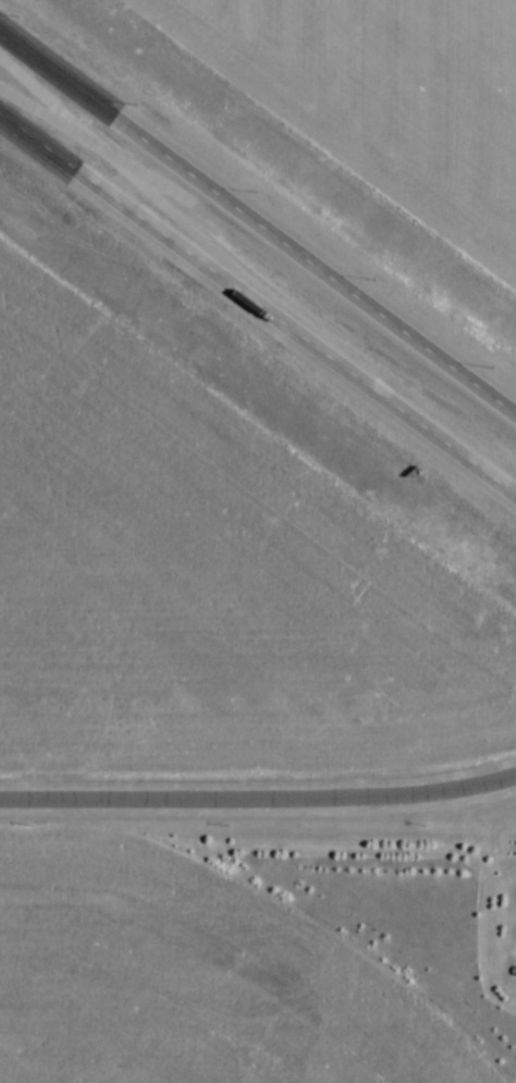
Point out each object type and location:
crop: (379, 99)
road: (258, 216)
road: (258, 302)
crop: (206, 589)
road: (258, 802)
crop: (184, 979)

